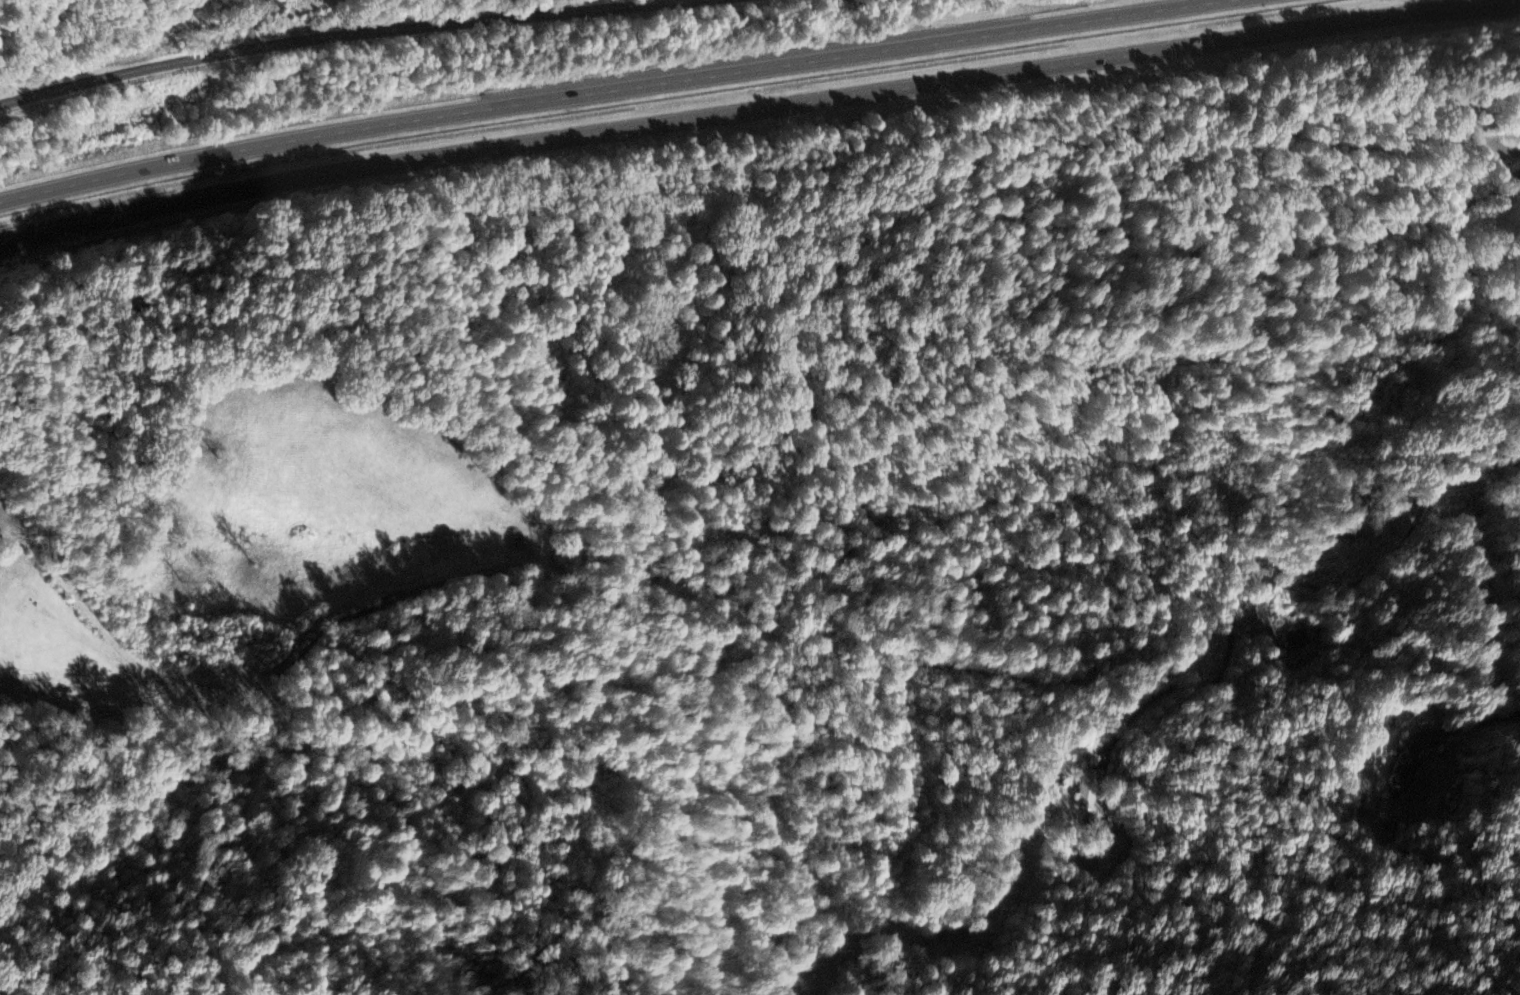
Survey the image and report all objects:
road: (340, 37)
road: (611, 90)
road: (748, 111)
building: (1515, 115)
power tower: (153, 141)
road: (1516, 179)
power tower: (51, 220)
road: (1407, 538)
building: (1296, 641)
road: (1214, 685)
building: (1403, 776)
building: (1086, 790)

